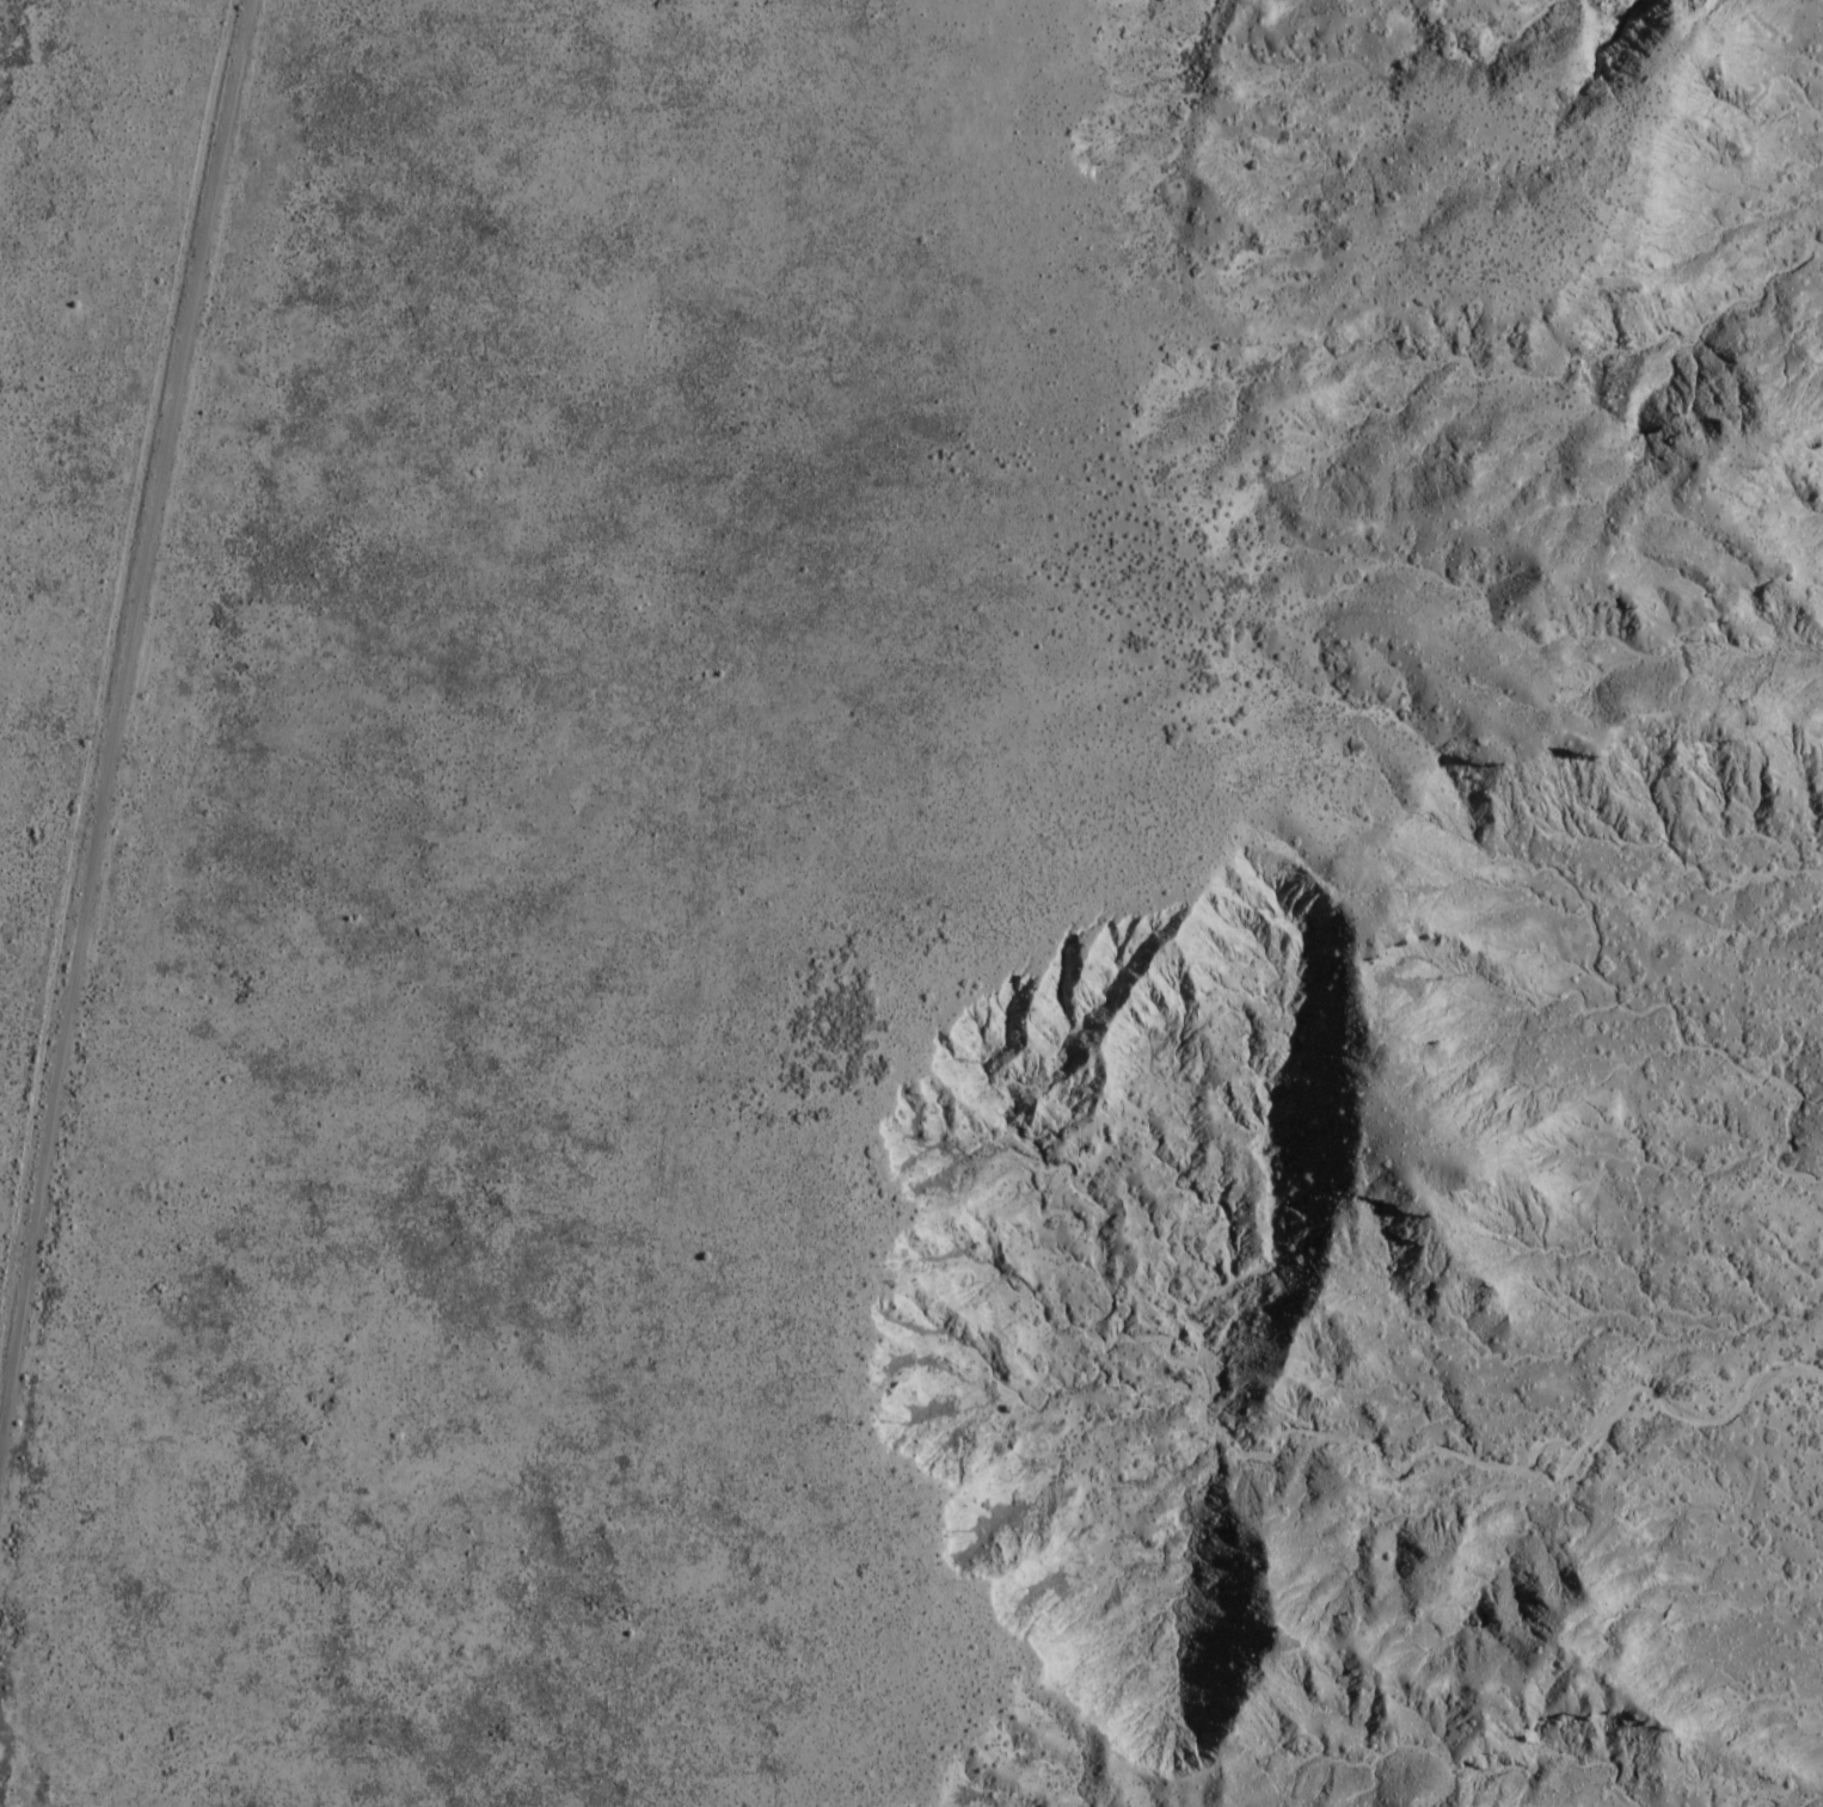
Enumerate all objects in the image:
road: (196, 10)
road: (248, 10)
road: (112, 740)

